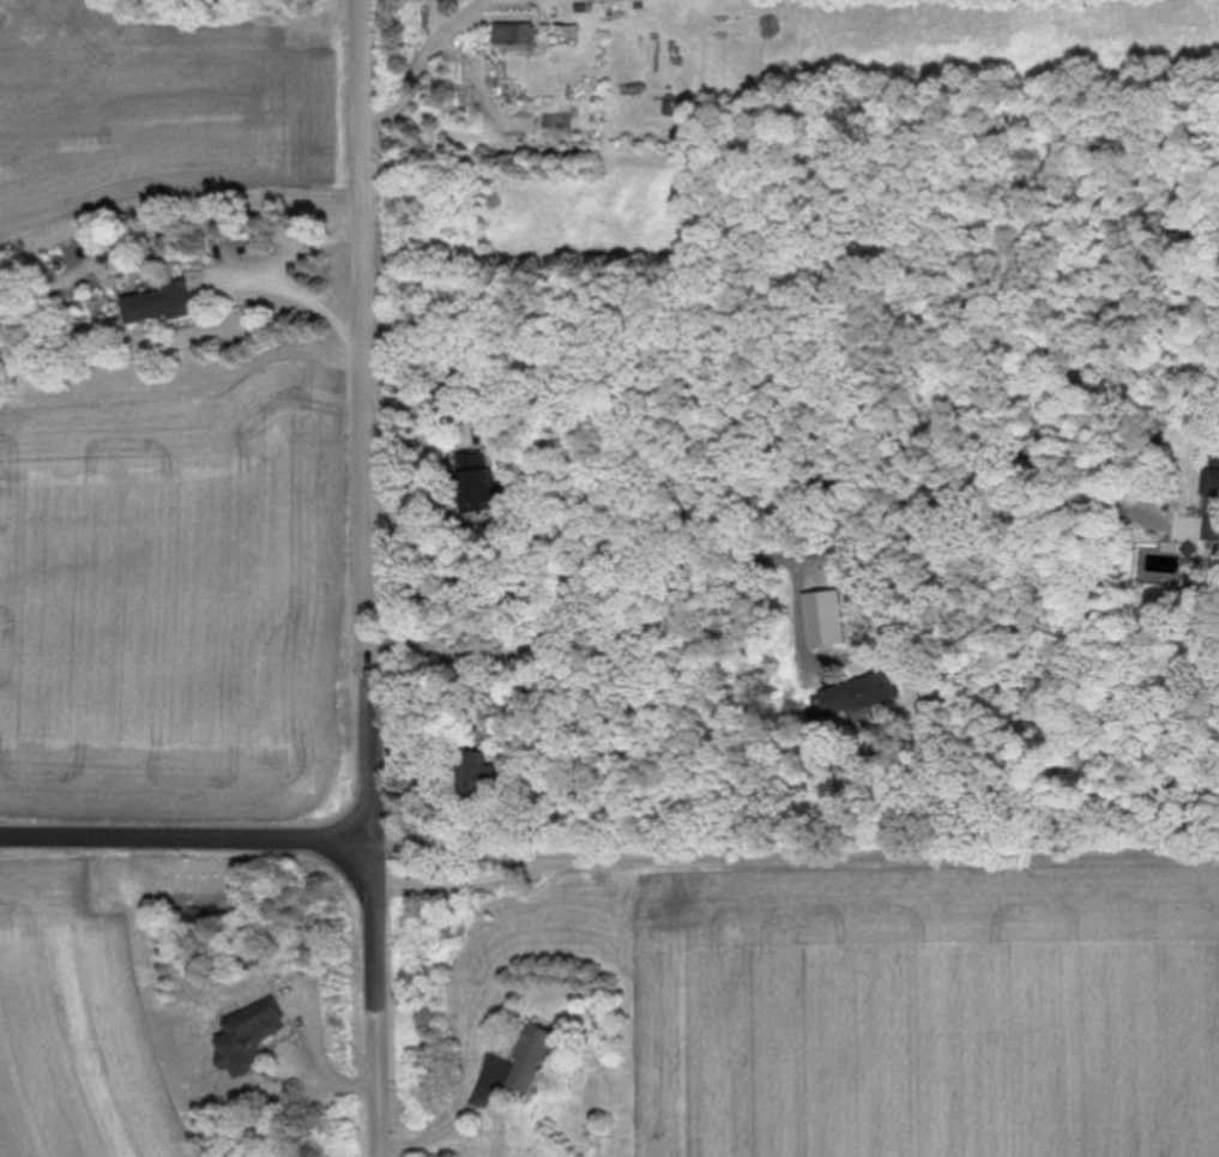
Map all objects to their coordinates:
building: (517, 36)
road: (437, 38)
road: (284, 279)
building: (164, 303)
road: (368, 418)
building: (483, 490)
building: (1213, 498)
road: (754, 560)
building: (863, 693)
building: (475, 771)
road: (187, 837)
road: (796, 856)
road: (381, 998)
building: (257, 1036)
building: (532, 1059)
road: (459, 1119)

